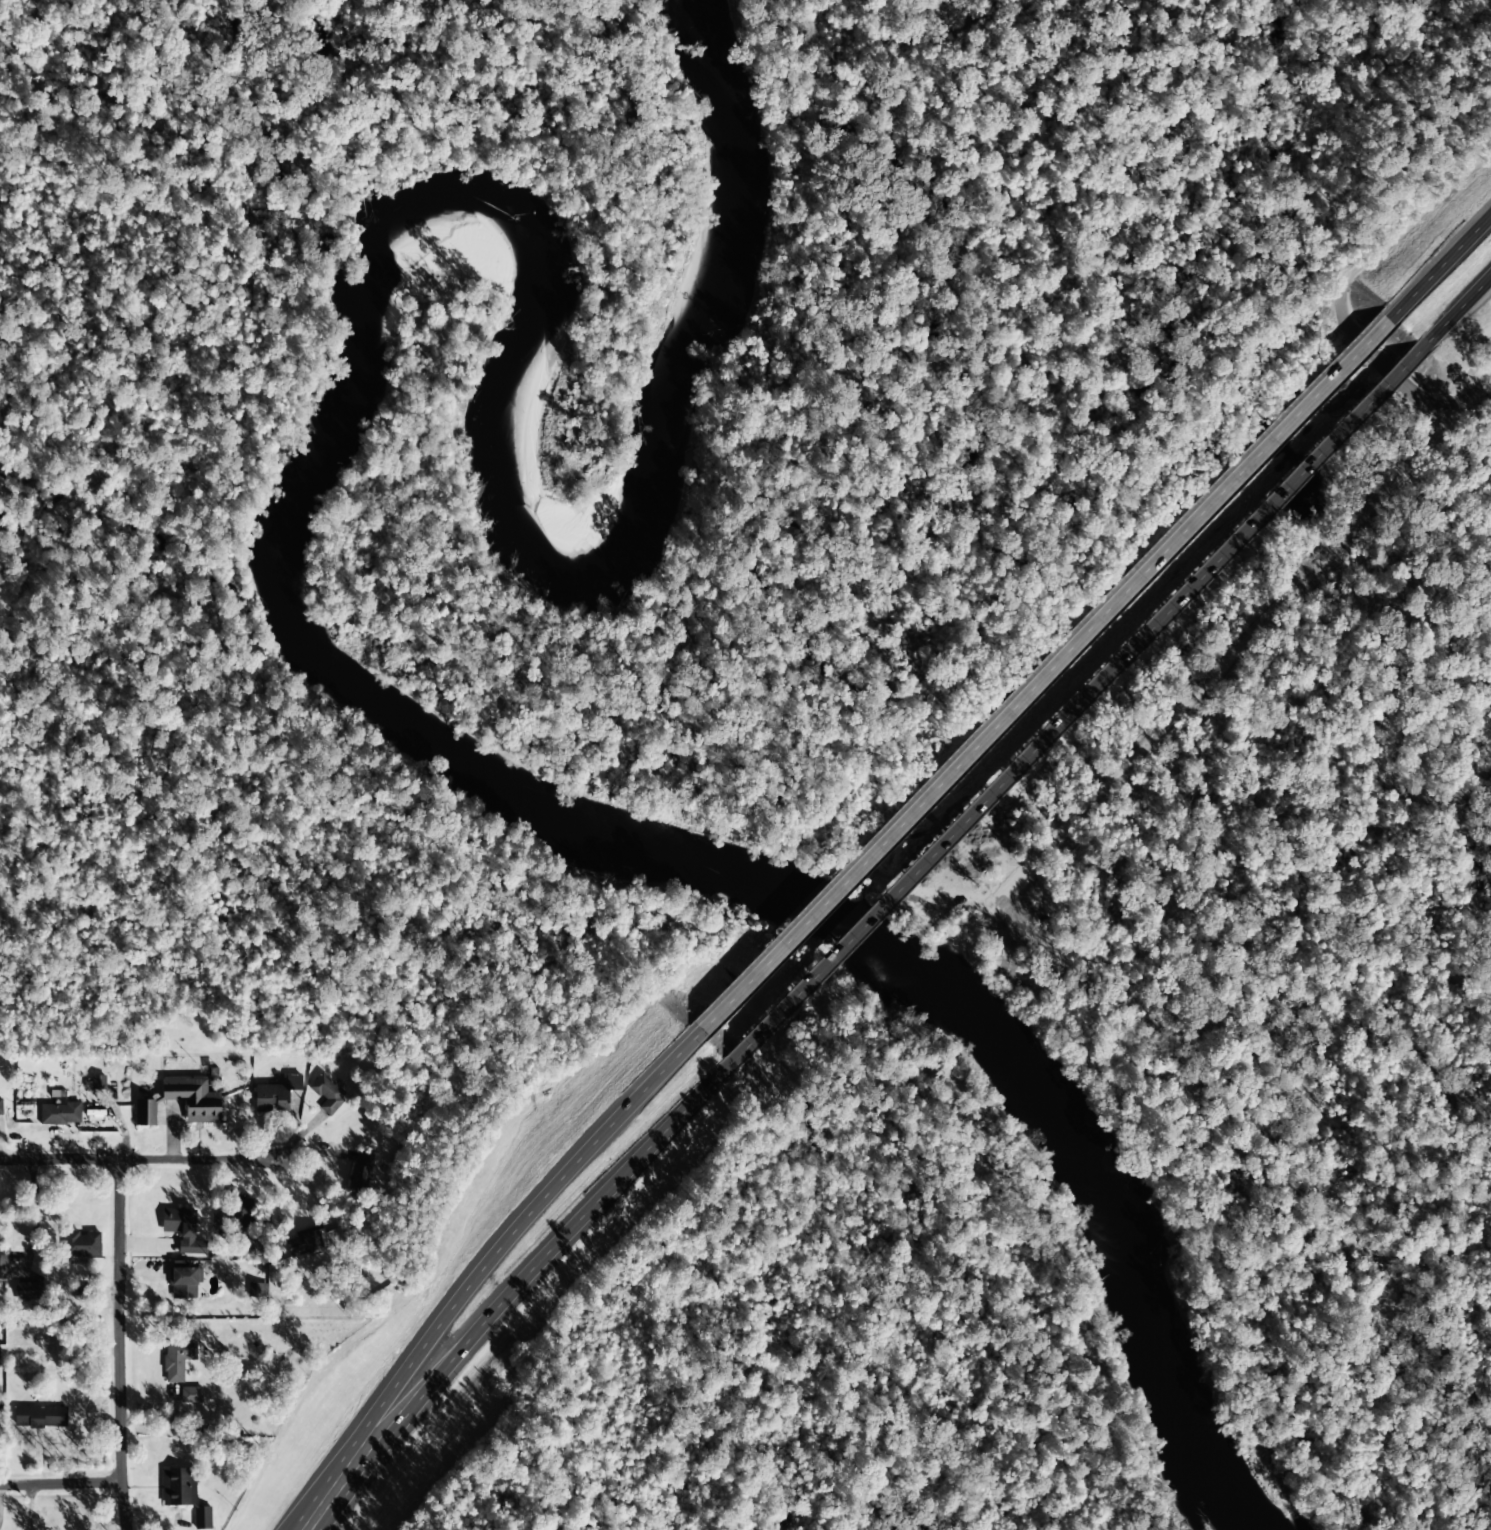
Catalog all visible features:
road: (1441, 267)
road: (1349, 277)
road: (1456, 311)
road: (1230, 664)
road: (1043, 679)
road: (1071, 710)
building: (97, 1082)
building: (327, 1094)
building: (275, 1095)
building: (193, 1099)
building: (0, 1109)
building: (60, 1111)
building: (145, 1113)
road: (138, 1163)
building: (242, 1214)
road: (522, 1219)
building: (183, 1230)
building: (313, 1242)
building: (81, 1245)
road: (552, 1250)
building: (2, 1267)
building: (183, 1281)
building: (257, 1290)
building: (28, 1291)
road: (119, 1347)
building: (2, 1356)
building: (177, 1360)
building: (190, 1395)
building: (40, 1417)
road: (343, 1476)
road: (60, 1486)
building: (178, 1487)
road: (26, 1509)
building: (202, 1518)

